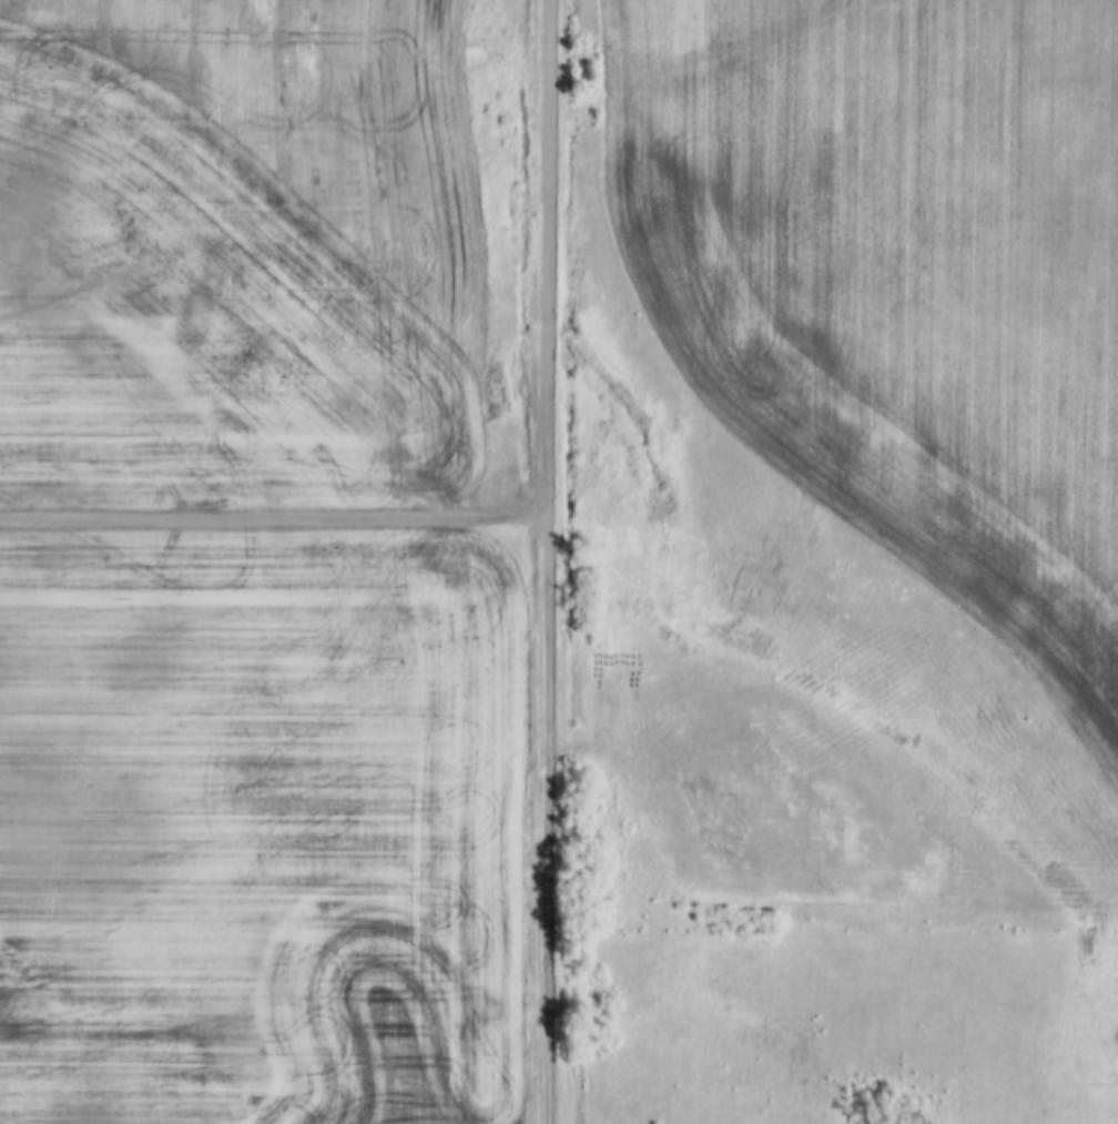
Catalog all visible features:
road: (549, 561)

